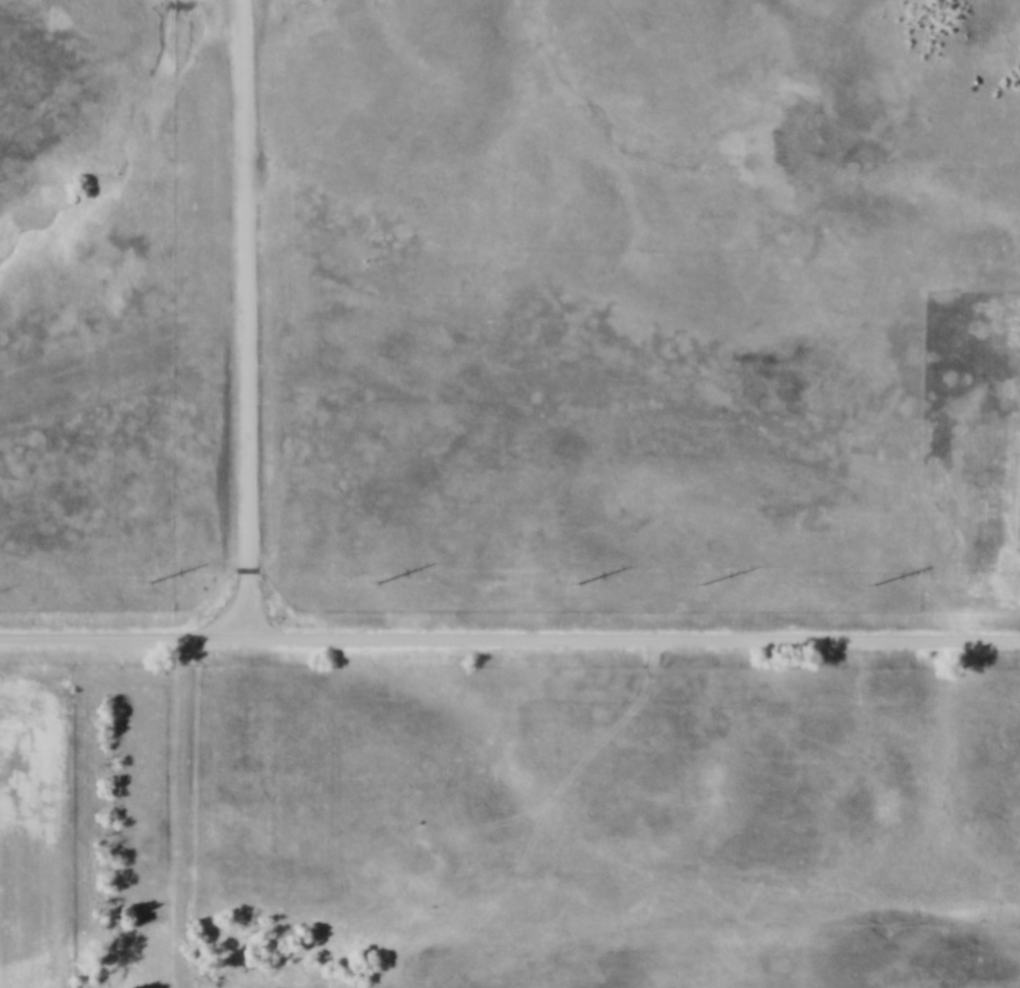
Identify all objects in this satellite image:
road: (510, 640)
road: (185, 814)

